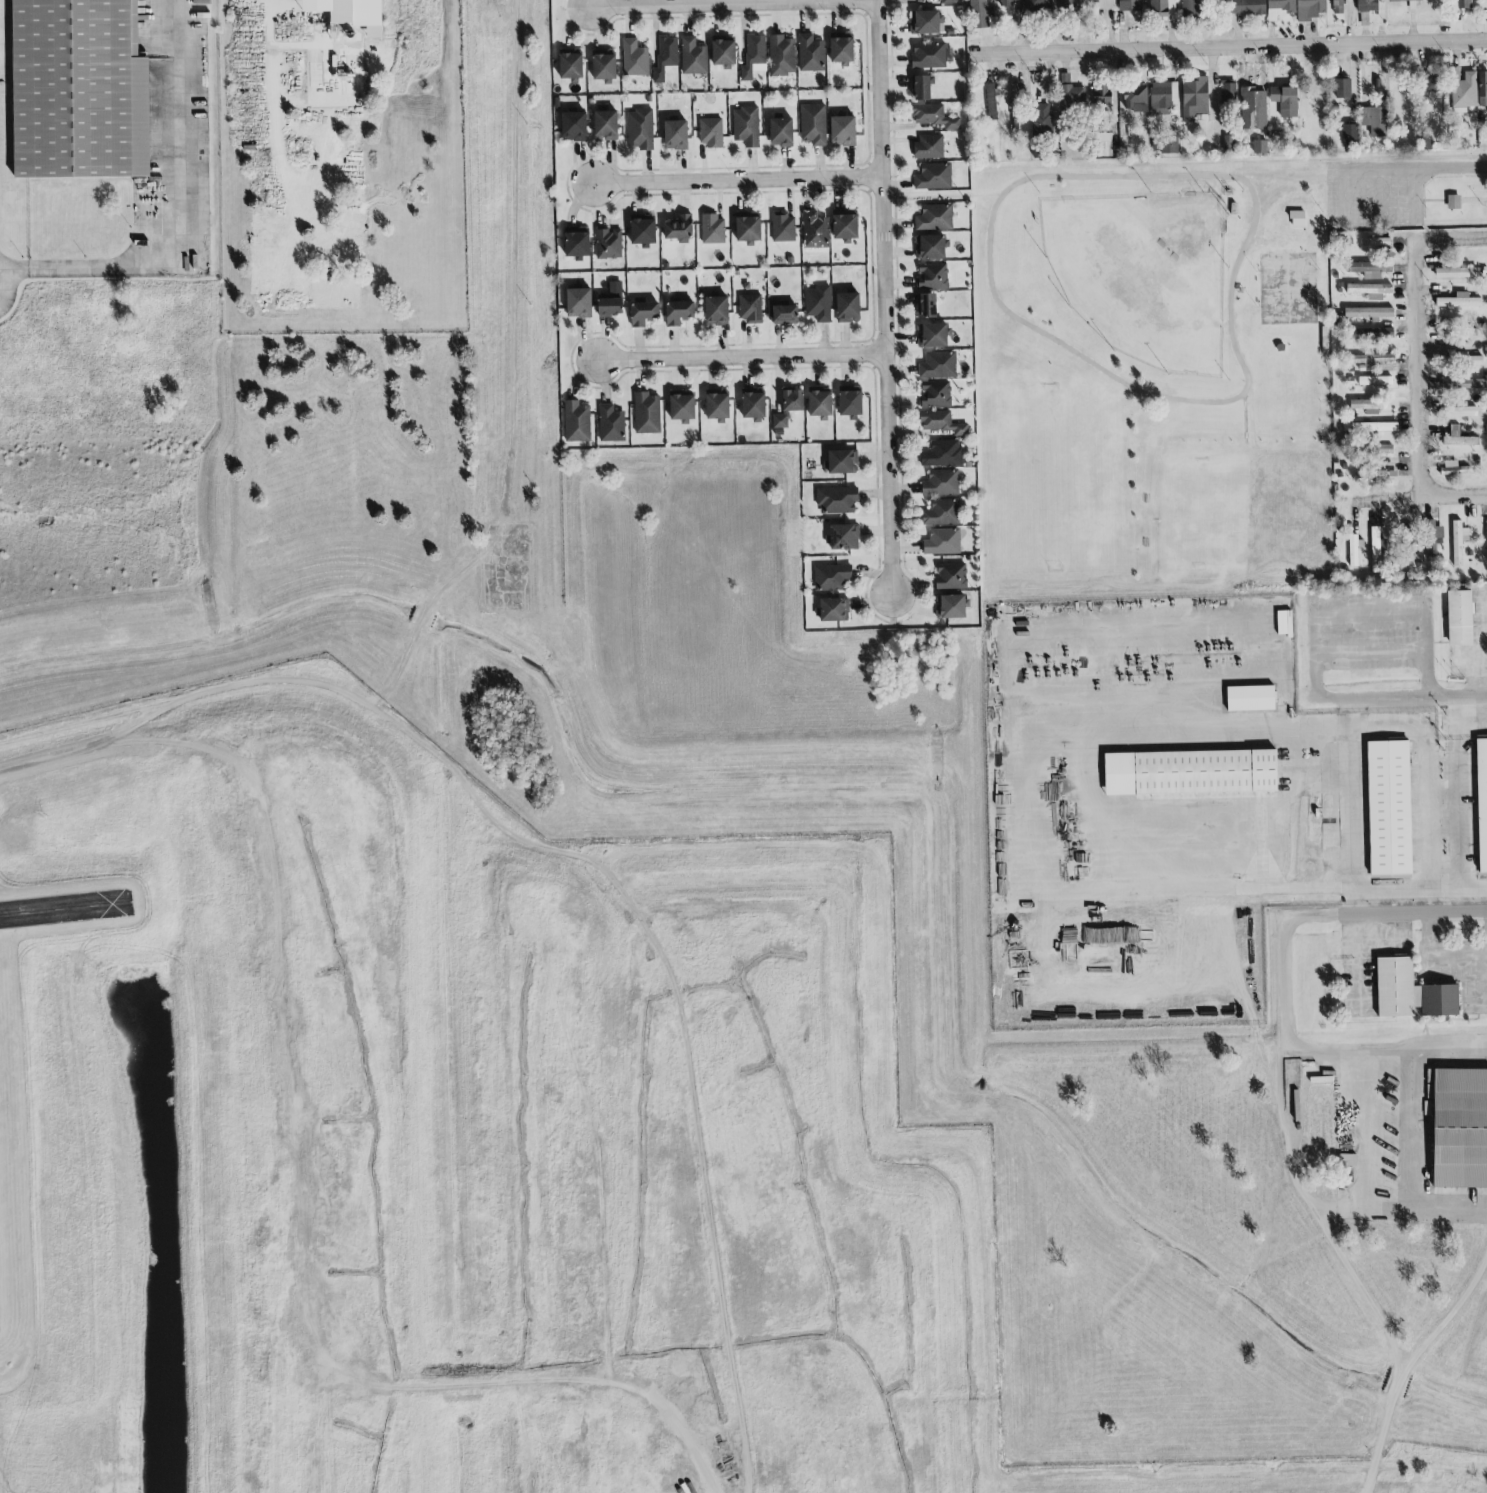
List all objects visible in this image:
road: (731, 2)
building: (949, 2)
building: (1009, 2)
building: (1463, 3)
building: (1103, 4)
road: (264, 5)
building: (1039, 5)
building: (1069, 5)
building: (1130, 5)
building: (1367, 5)
building: (1243, 6)
building: (1338, 6)
building: (1412, 6)
building: (1279, 7)
building: (1190, 8)
building: (1308, 8)
building: (1163, 9)
building: (347, 11)
building: (979, 14)
building: (1484, 14)
building: (925, 20)
road: (1228, 48)
building: (722, 49)
building: (842, 50)
building: (810, 54)
building: (752, 55)
building: (931, 55)
building: (781, 56)
building: (634, 57)
building: (693, 57)
building: (665, 58)
building: (570, 64)
building: (603, 64)
building: (1432, 82)
building: (921, 84)
building: (1482, 88)
building: (79, 89)
building: (1343, 89)
building: (1070, 91)
building: (1228, 93)
building: (1465, 93)
building: (1163, 94)
building: (1194, 96)
building: (1102, 99)
building: (1135, 99)
building: (1016, 100)
building: (1285, 101)
building: (991, 102)
building: (933, 114)
building: (1041, 121)
building: (1374, 121)
building: (812, 123)
building: (573, 124)
building: (606, 126)
building: (745, 126)
building: (640, 128)
building: (781, 132)
building: (843, 132)
building: (675, 133)
building: (710, 133)
building: (1350, 135)
building: (1228, 143)
building: (1106, 145)
building: (927, 146)
building: (1169, 146)
building: (1259, 147)
road: (1408, 169)
building: (933, 177)
road: (734, 179)
parking lot: (1375, 193)
road: (926, 197)
building: (1454, 201)
road: (184, 216)
building: (934, 216)
building: (1297, 220)
road: (1254, 224)
building: (678, 227)
building: (846, 227)
building: (711, 228)
building: (783, 228)
building: (748, 229)
building: (814, 231)
building: (576, 241)
building: (1375, 241)
building: (607, 243)
building: (930, 244)
building: (1369, 269)
building: (1457, 272)
park: (1145, 274)
building: (931, 275)
building: (614, 287)
park: (1290, 287)
building: (1370, 290)
road: (884, 298)
building: (1459, 300)
building: (579, 302)
building: (818, 303)
building: (925, 303)
building: (610, 307)
building: (848, 307)
building: (750, 308)
building: (717, 310)
building: (643, 311)
building: (679, 312)
building: (1368, 312)
building: (785, 314)
building: (932, 332)
building: (1370, 334)
road: (741, 356)
building: (1373, 358)
building: (1462, 358)
park: (1172, 362)
building: (937, 365)
road: (1421, 366)
road: (509, 379)
building: (1375, 380)
building: (1464, 384)
building: (935, 394)
building: (849, 400)
building: (820, 404)
building: (717, 405)
building: (753, 406)
building: (787, 406)
building: (1367, 406)
building: (682, 407)
building: (1460, 411)
building: (646, 413)
building: (576, 422)
building: (941, 422)
building: (610, 423)
building: (1377, 429)
building: (1459, 438)
building: (1373, 448)
building: (942, 453)
building: (840, 460)
building: (1453, 468)
building: (940, 482)
building: (836, 500)
building: (941, 513)
building: (842, 535)
building: (1432, 538)
building: (942, 542)
building: (1459, 542)
building: (1354, 549)
building: (1376, 549)
building: (950, 576)
building: (831, 577)
building: (951, 605)
building: (833, 609)
road: (1370, 616)
building: (1460, 618)
building: (1284, 622)
road: (1371, 652)
road: (1402, 696)
building: (1251, 698)
road: (1309, 724)
building: (1191, 772)
building: (1482, 802)
road: (1454, 805)
building: (1390, 809)
road: (1333, 910)
road: (453, 975)
building: (1411, 991)
road: (1449, 1050)
building: (1460, 1129)
road: (966, 1154)
road: (717, 1161)
road: (1403, 1196)

